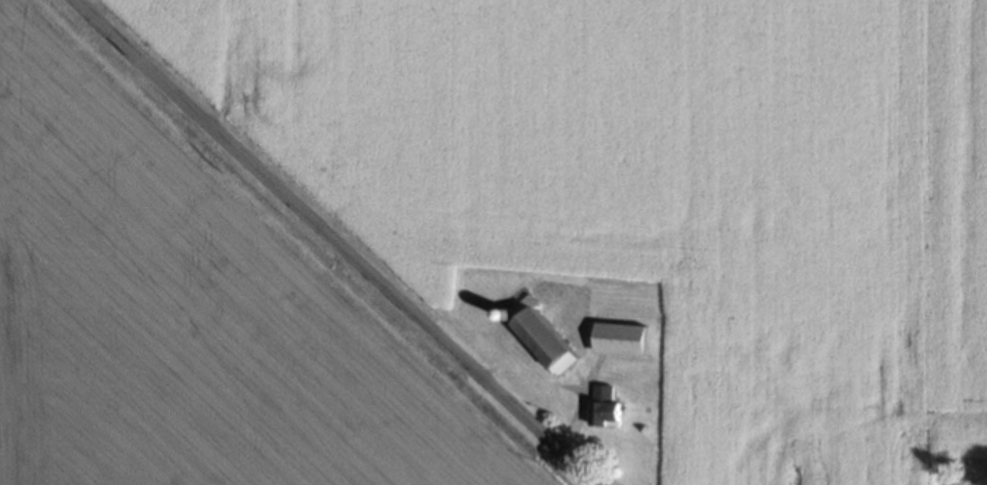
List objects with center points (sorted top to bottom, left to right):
road: (315, 242)
building: (546, 338)
building: (625, 342)
building: (609, 410)

